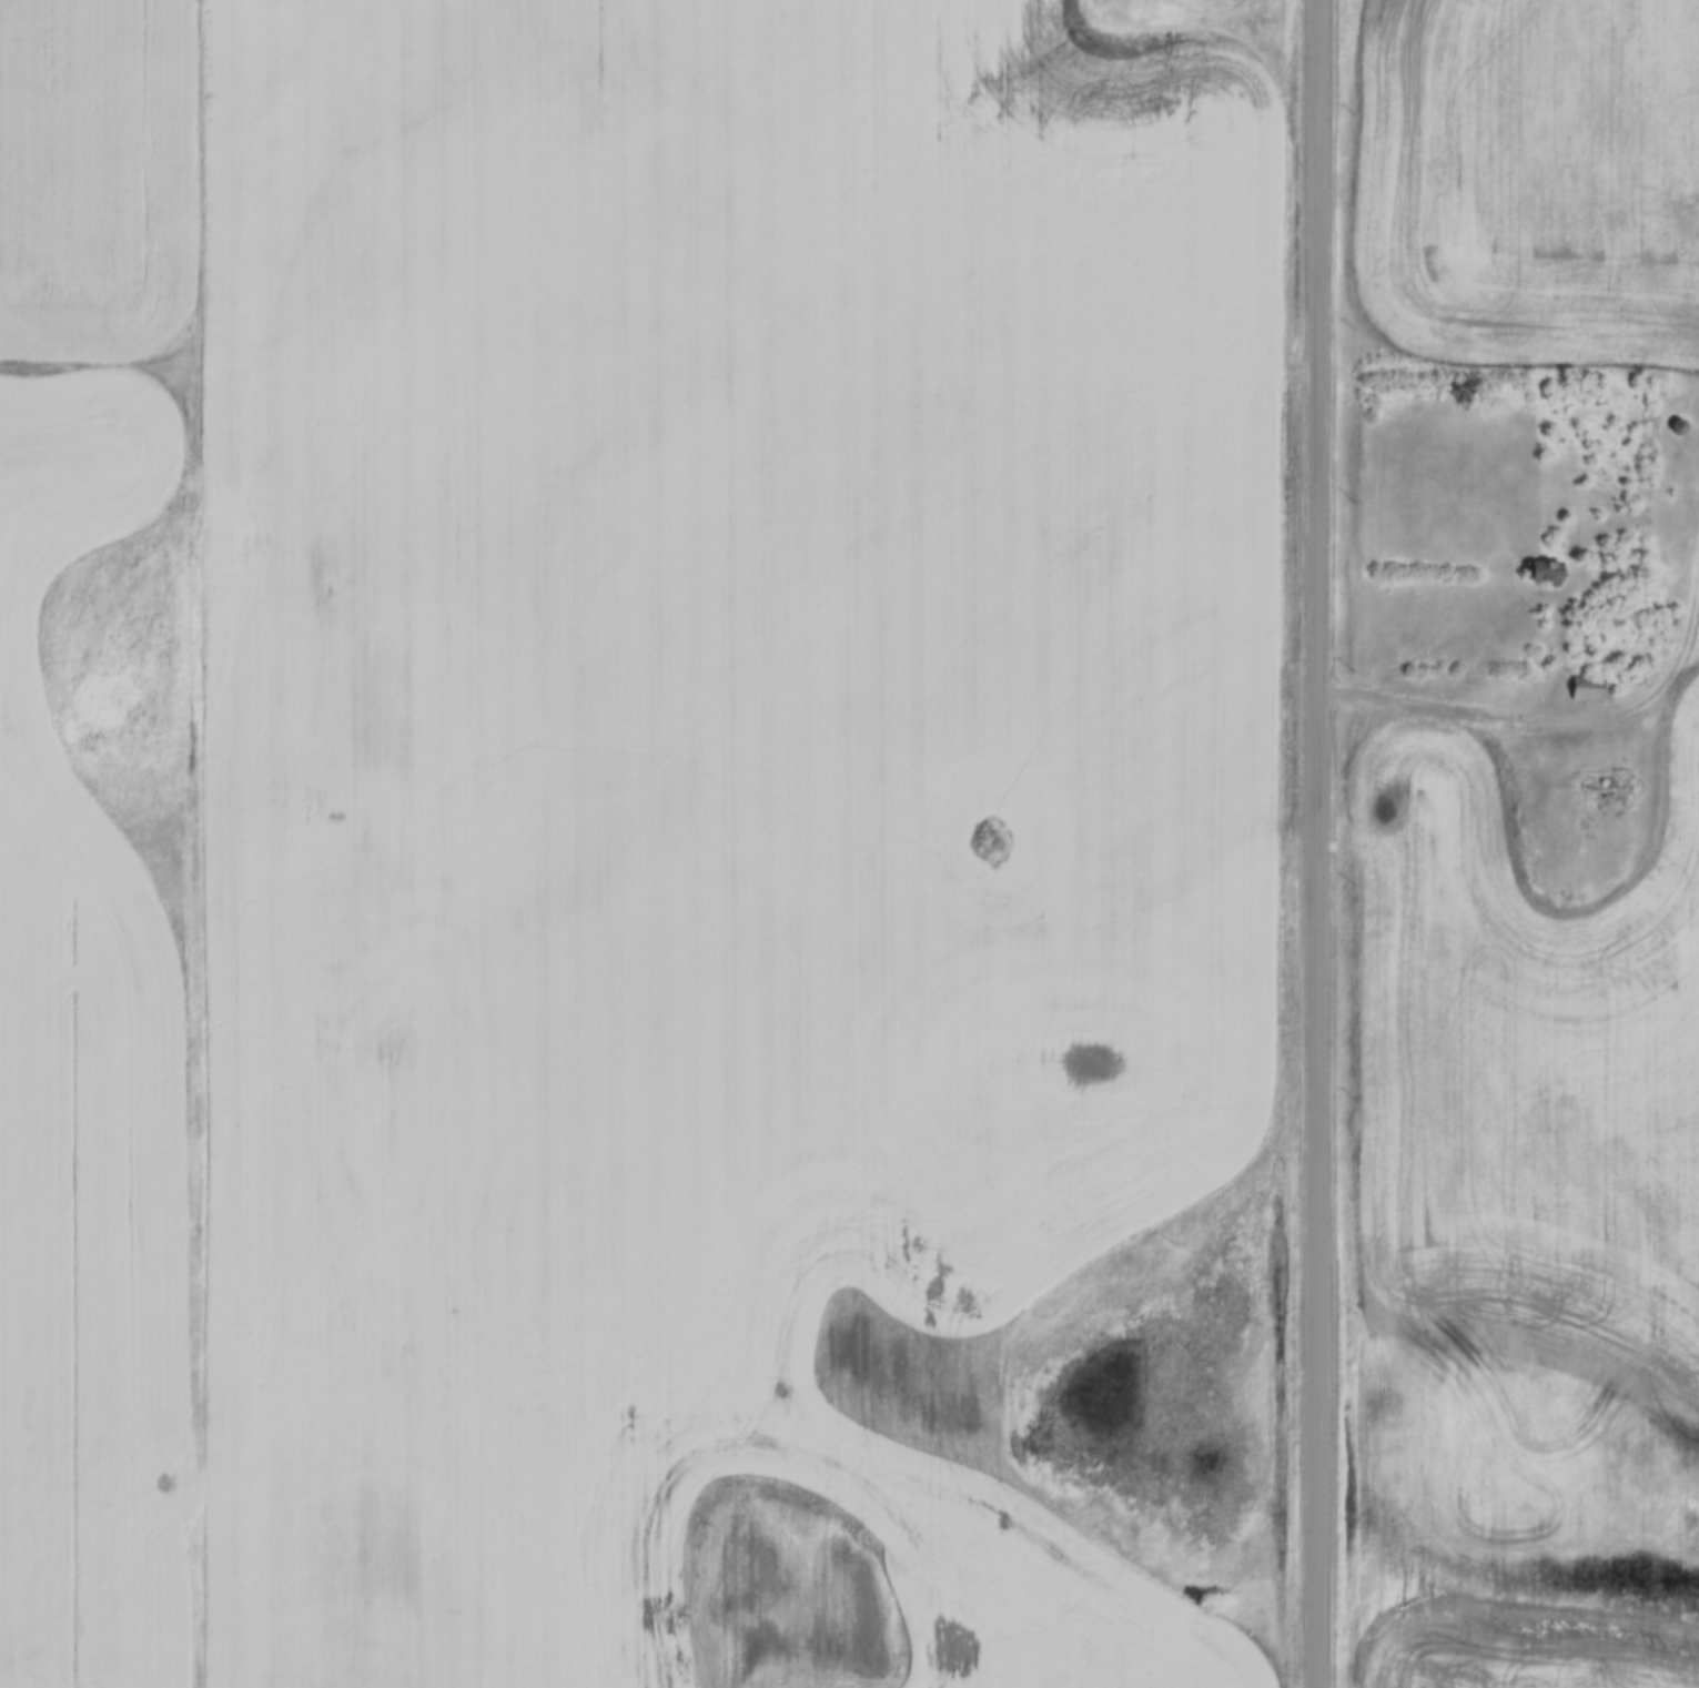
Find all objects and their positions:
building: (1549, 576)
building: (1589, 688)
road: (1554, 722)
road: (1316, 843)

